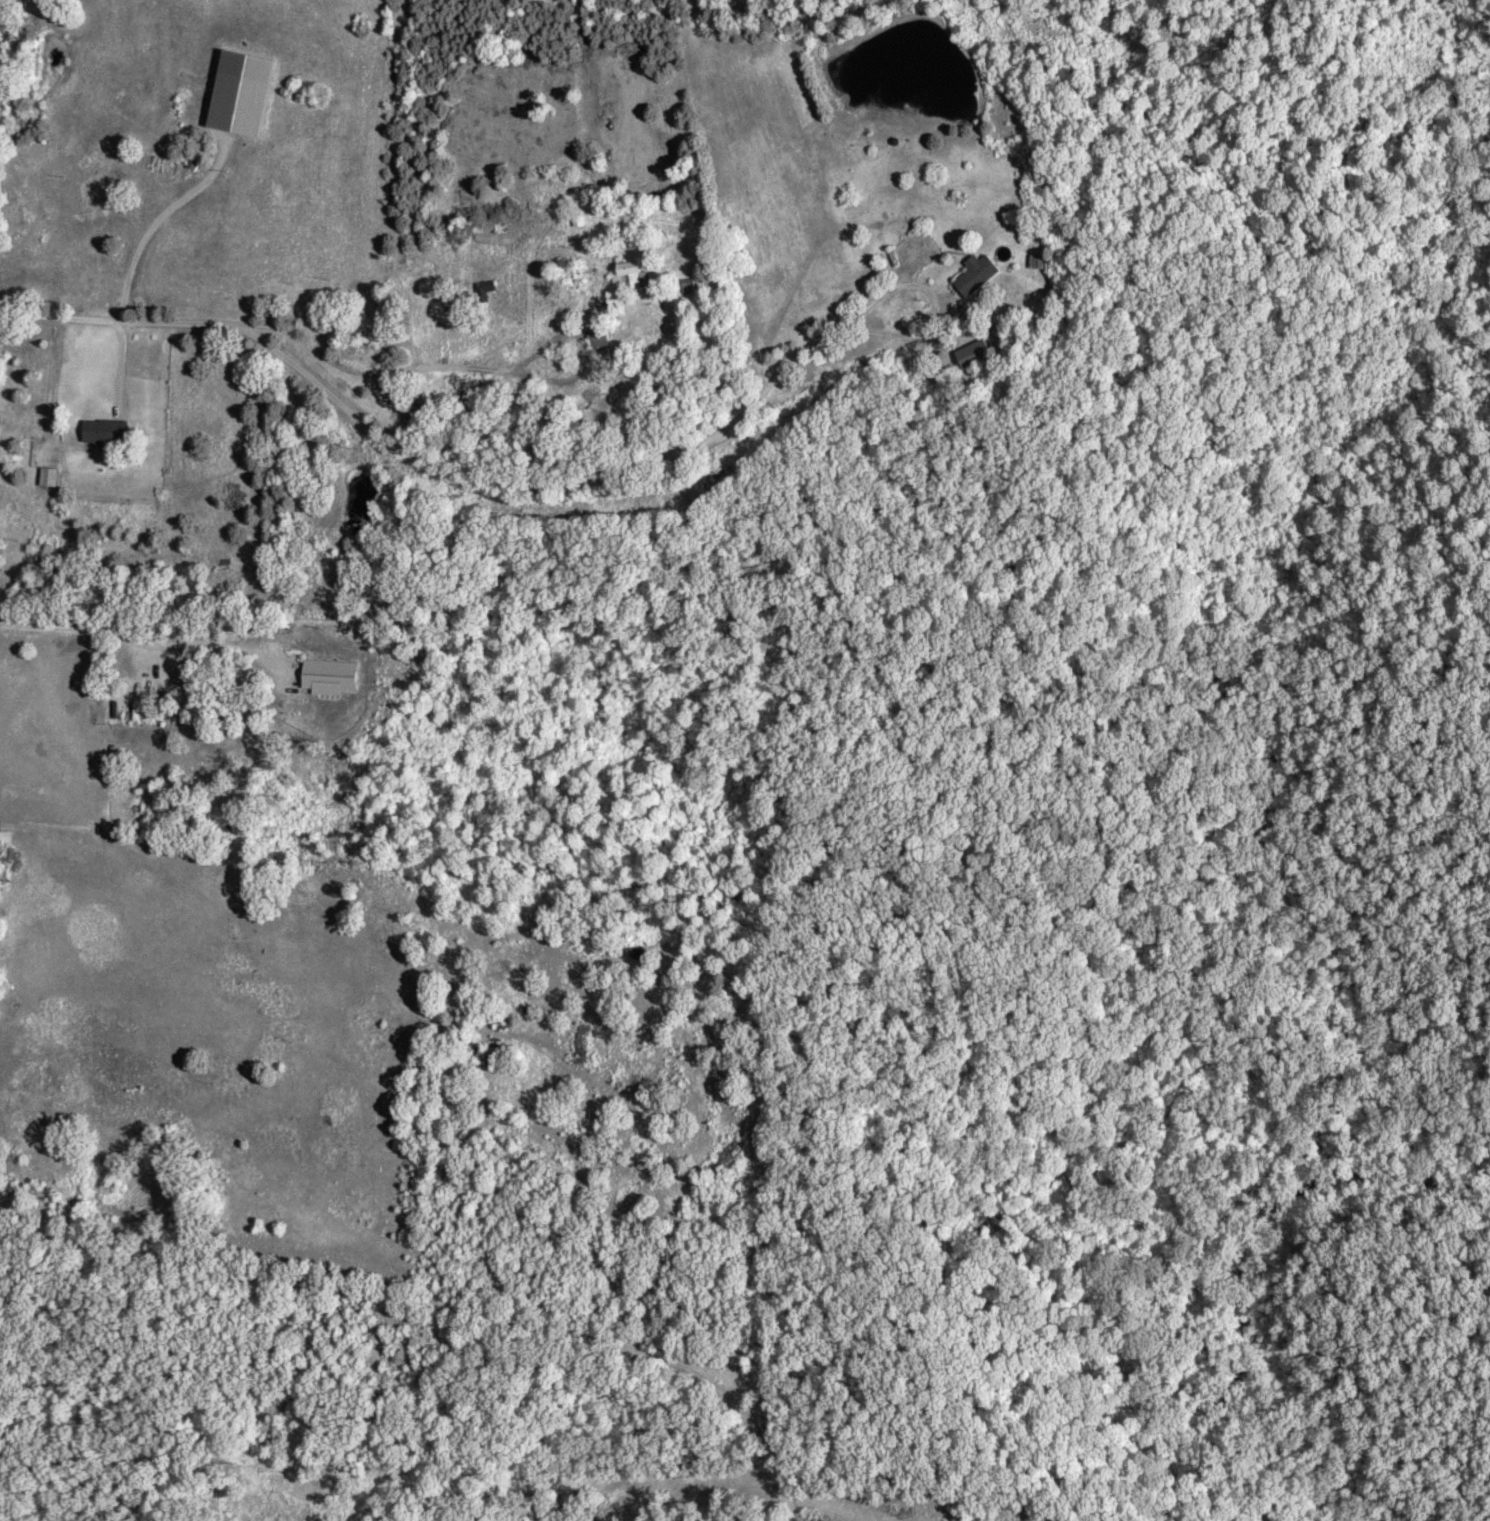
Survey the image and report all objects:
building: (244, 93)
building: (981, 273)
building: (635, 276)
road: (259, 349)
building: (105, 429)
building: (53, 475)
road: (469, 499)
building: (333, 675)
road: (409, 1303)

